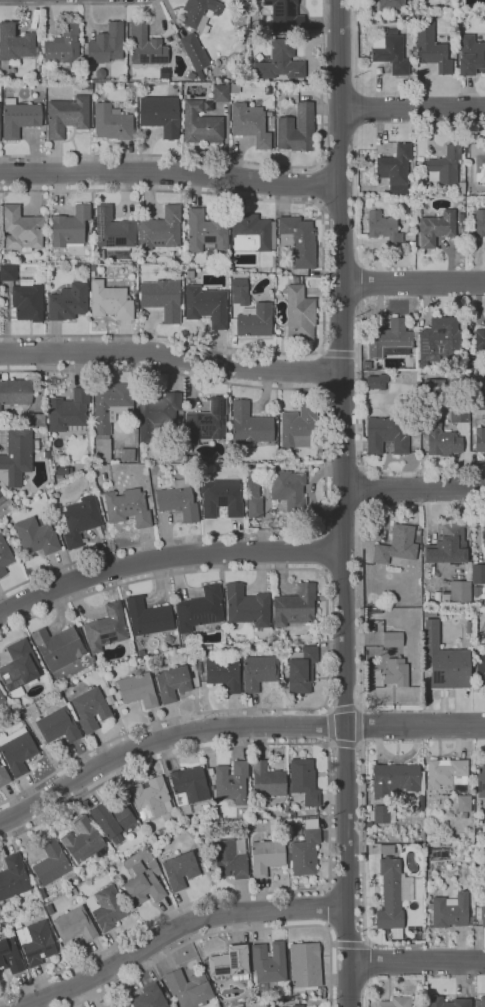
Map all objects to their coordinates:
road: (77, 3)
building: (391, 4)
building: (200, 13)
building: (285, 15)
building: (449, 19)
building: (15, 44)
road: (357, 44)
building: (63, 45)
building: (106, 45)
building: (146, 46)
building: (431, 48)
building: (194, 51)
building: (391, 52)
building: (471, 55)
building: (280, 62)
building: (100, 76)
building: (85, 79)
building: (140, 84)
building: (87, 86)
building: (220, 93)
building: (207, 106)
road: (360, 107)
road: (412, 110)
building: (160, 114)
building: (269, 114)
building: (67, 116)
building: (19, 118)
building: (112, 122)
building: (201, 124)
building: (250, 124)
building: (296, 129)
building: (478, 160)
road: (242, 161)
building: (446, 165)
building: (395, 170)
road: (170, 173)
building: (468, 173)
road: (320, 184)
building: (428, 186)
building: (461, 188)
road: (355, 202)
building: (185, 206)
building: (461, 218)
building: (480, 223)
building: (69, 227)
building: (384, 228)
building: (436, 228)
building: (21, 229)
building: (113, 229)
building: (161, 229)
building: (205, 233)
building: (252, 233)
building: (298, 240)
building: (411, 244)
building: (180, 260)
building: (225, 266)
building: (231, 267)
building: (92, 270)
building: (8, 273)
road: (323, 278)
building: (295, 280)
road: (362, 283)
road: (413, 284)
building: (239, 292)
building: (162, 298)
building: (110, 301)
building: (28, 302)
building: (68, 302)
building: (136, 304)
building: (206, 306)
building: (299, 314)
building: (254, 320)
building: (440, 339)
building: (390, 340)
building: (480, 340)
road: (337, 354)
road: (171, 357)
building: (469, 363)
building: (366, 365)
building: (376, 382)
building: (15, 392)
building: (478, 400)
building: (68, 411)
building: (109, 413)
building: (156, 413)
road: (357, 414)
building: (458, 414)
building: (34, 420)
building: (207, 422)
building: (249, 426)
building: (298, 426)
building: (386, 435)
building: (480, 439)
building: (443, 443)
building: (187, 449)
building: (174, 452)
building: (47, 455)
building: (127, 455)
building: (17, 457)
building: (200, 460)
building: (226, 461)
road: (325, 466)
road: (473, 469)
building: (62, 471)
road: (362, 488)
building: (288, 489)
road: (414, 489)
building: (0, 493)
building: (253, 494)
building: (221, 498)
building: (178, 501)
road: (343, 503)
building: (127, 507)
building: (80, 520)
building: (35, 536)
building: (418, 536)
building: (484, 536)
building: (396, 545)
building: (449, 548)
road: (323, 550)
building: (4, 557)
road: (167, 562)
building: (478, 574)
building: (476, 590)
building: (457, 594)
building: (437, 598)
building: (482, 602)
building: (247, 606)
building: (294, 606)
building: (200, 609)
building: (430, 613)
building: (147, 616)
building: (106, 628)
building: (275, 635)
building: (169, 639)
building: (392, 639)
road: (325, 643)
building: (58, 647)
road: (359, 648)
building: (141, 653)
building: (93, 659)
building: (445, 661)
building: (480, 665)
building: (19, 666)
building: (301, 670)
building: (258, 672)
building: (396, 672)
building: (223, 673)
building: (172, 683)
building: (138, 690)
road: (427, 690)
building: (108, 697)
building: (2, 698)
road: (444, 699)
building: (90, 708)
road: (340, 709)
road: (359, 724)
building: (58, 726)
road: (414, 726)
road: (331, 730)
road: (163, 742)
road: (347, 744)
building: (17, 750)
building: (210, 772)
building: (447, 772)
building: (4, 777)
building: (480, 779)
building: (395, 780)
building: (267, 781)
building: (304, 781)
building: (232, 782)
road: (363, 783)
building: (212, 787)
building: (188, 788)
building: (458, 789)
building: (151, 799)
building: (300, 800)
building: (420, 803)
building: (464, 805)
building: (204, 807)
building: (285, 808)
building: (291, 814)
building: (379, 816)
road: (329, 817)
building: (218, 818)
building: (111, 819)
building: (295, 832)
building: (83, 841)
building: (207, 847)
building: (387, 849)
building: (305, 850)
building: (266, 857)
building: (230, 859)
building: (52, 864)
building: (180, 870)
building: (13, 877)
building: (145, 885)
building: (390, 895)
building: (106, 908)
road: (327, 908)
building: (449, 910)
building: (481, 912)
building: (74, 925)
road: (173, 931)
road: (229, 931)
building: (36, 942)
road: (350, 944)
building: (10, 956)
road: (369, 962)
road: (418, 962)
building: (230, 963)
building: (269, 963)
building: (305, 966)
road: (367, 983)
building: (188, 988)
building: (149, 997)
building: (396, 1002)
building: (448, 1002)
building: (482, 1002)
building: (123, 1006)
building: (127, 1006)
building: (297, 1006)

